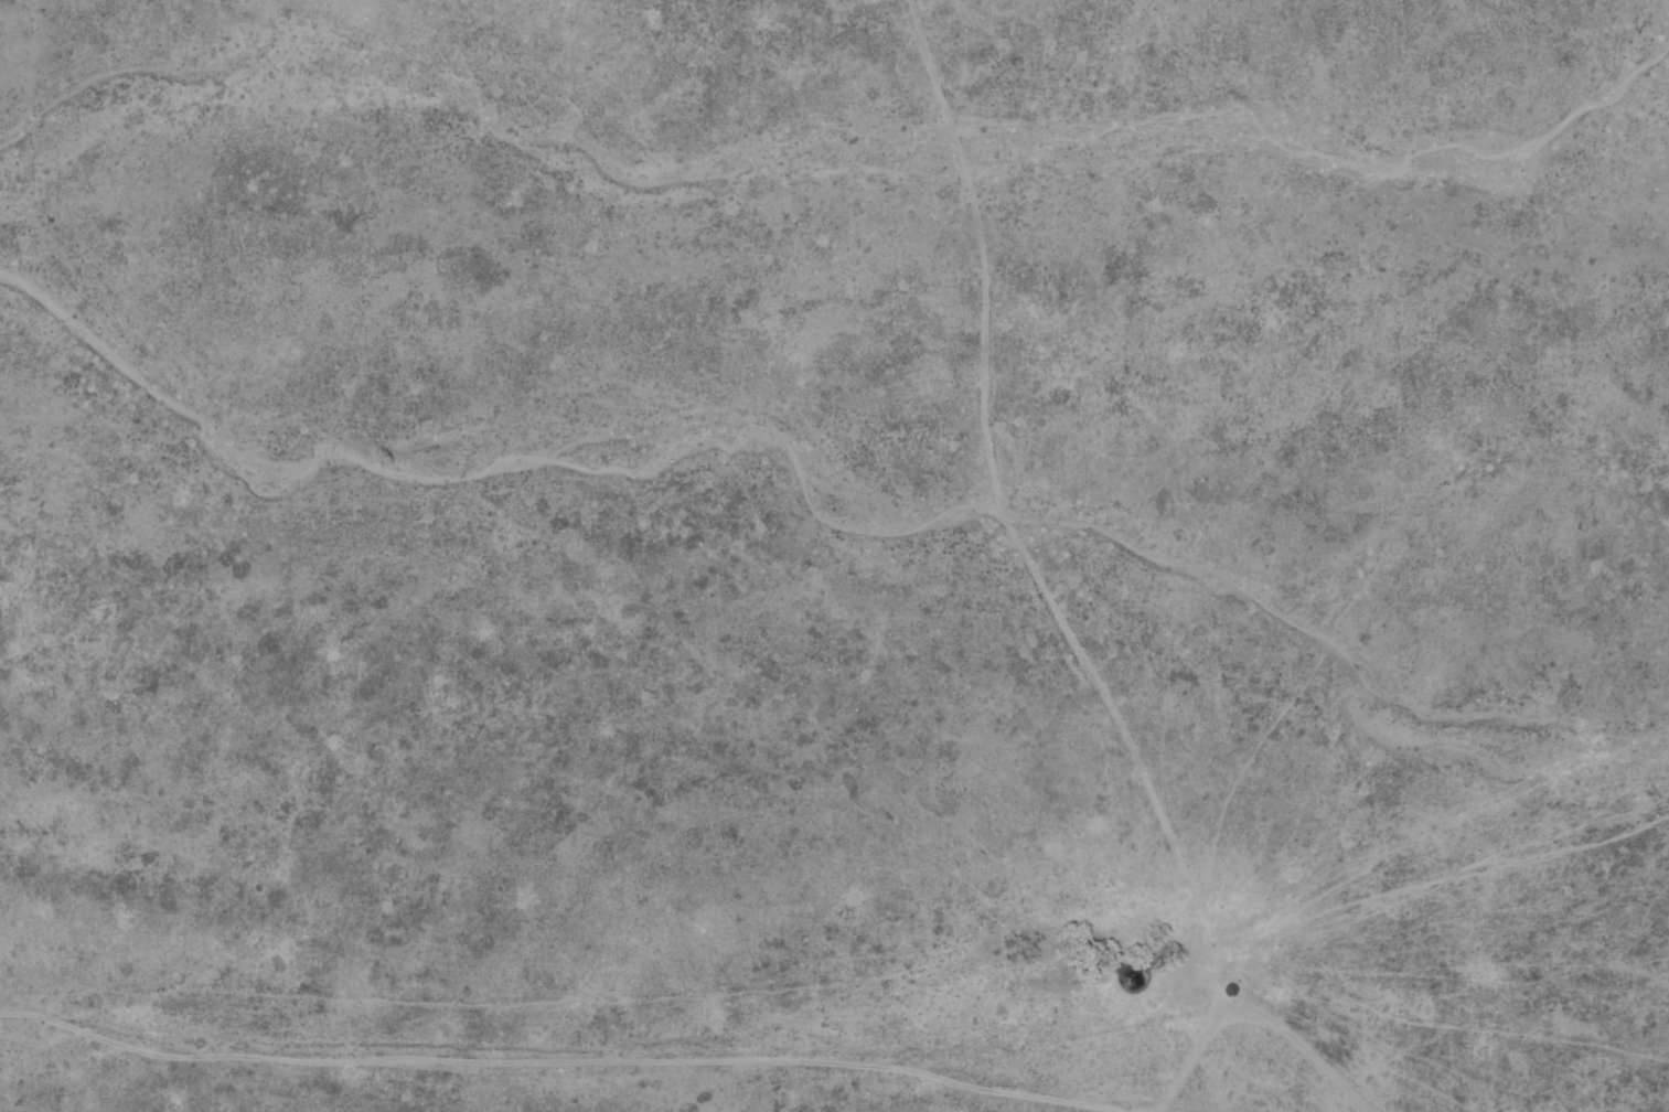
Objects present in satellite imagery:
road: (643, 983)
building: (1231, 988)
storage tank: (1231, 988)

